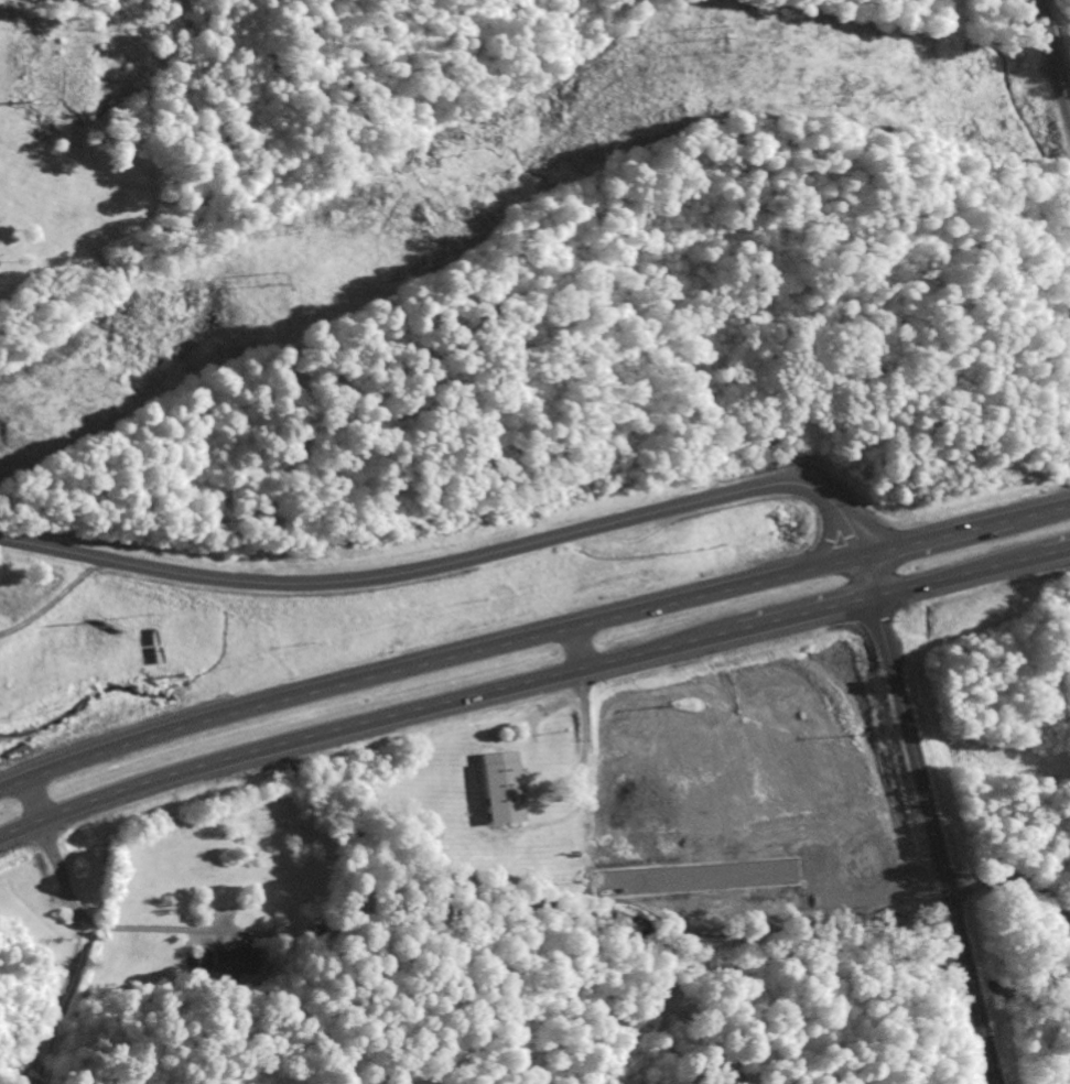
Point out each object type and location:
power tower: (717, 42)
road: (1053, 56)
power tower: (266, 279)
road: (450, 564)
road: (52, 598)
road: (531, 638)
road: (531, 684)
building: (501, 785)
road: (928, 820)
road: (974, 884)
road: (1039, 897)
building: (230, 963)

